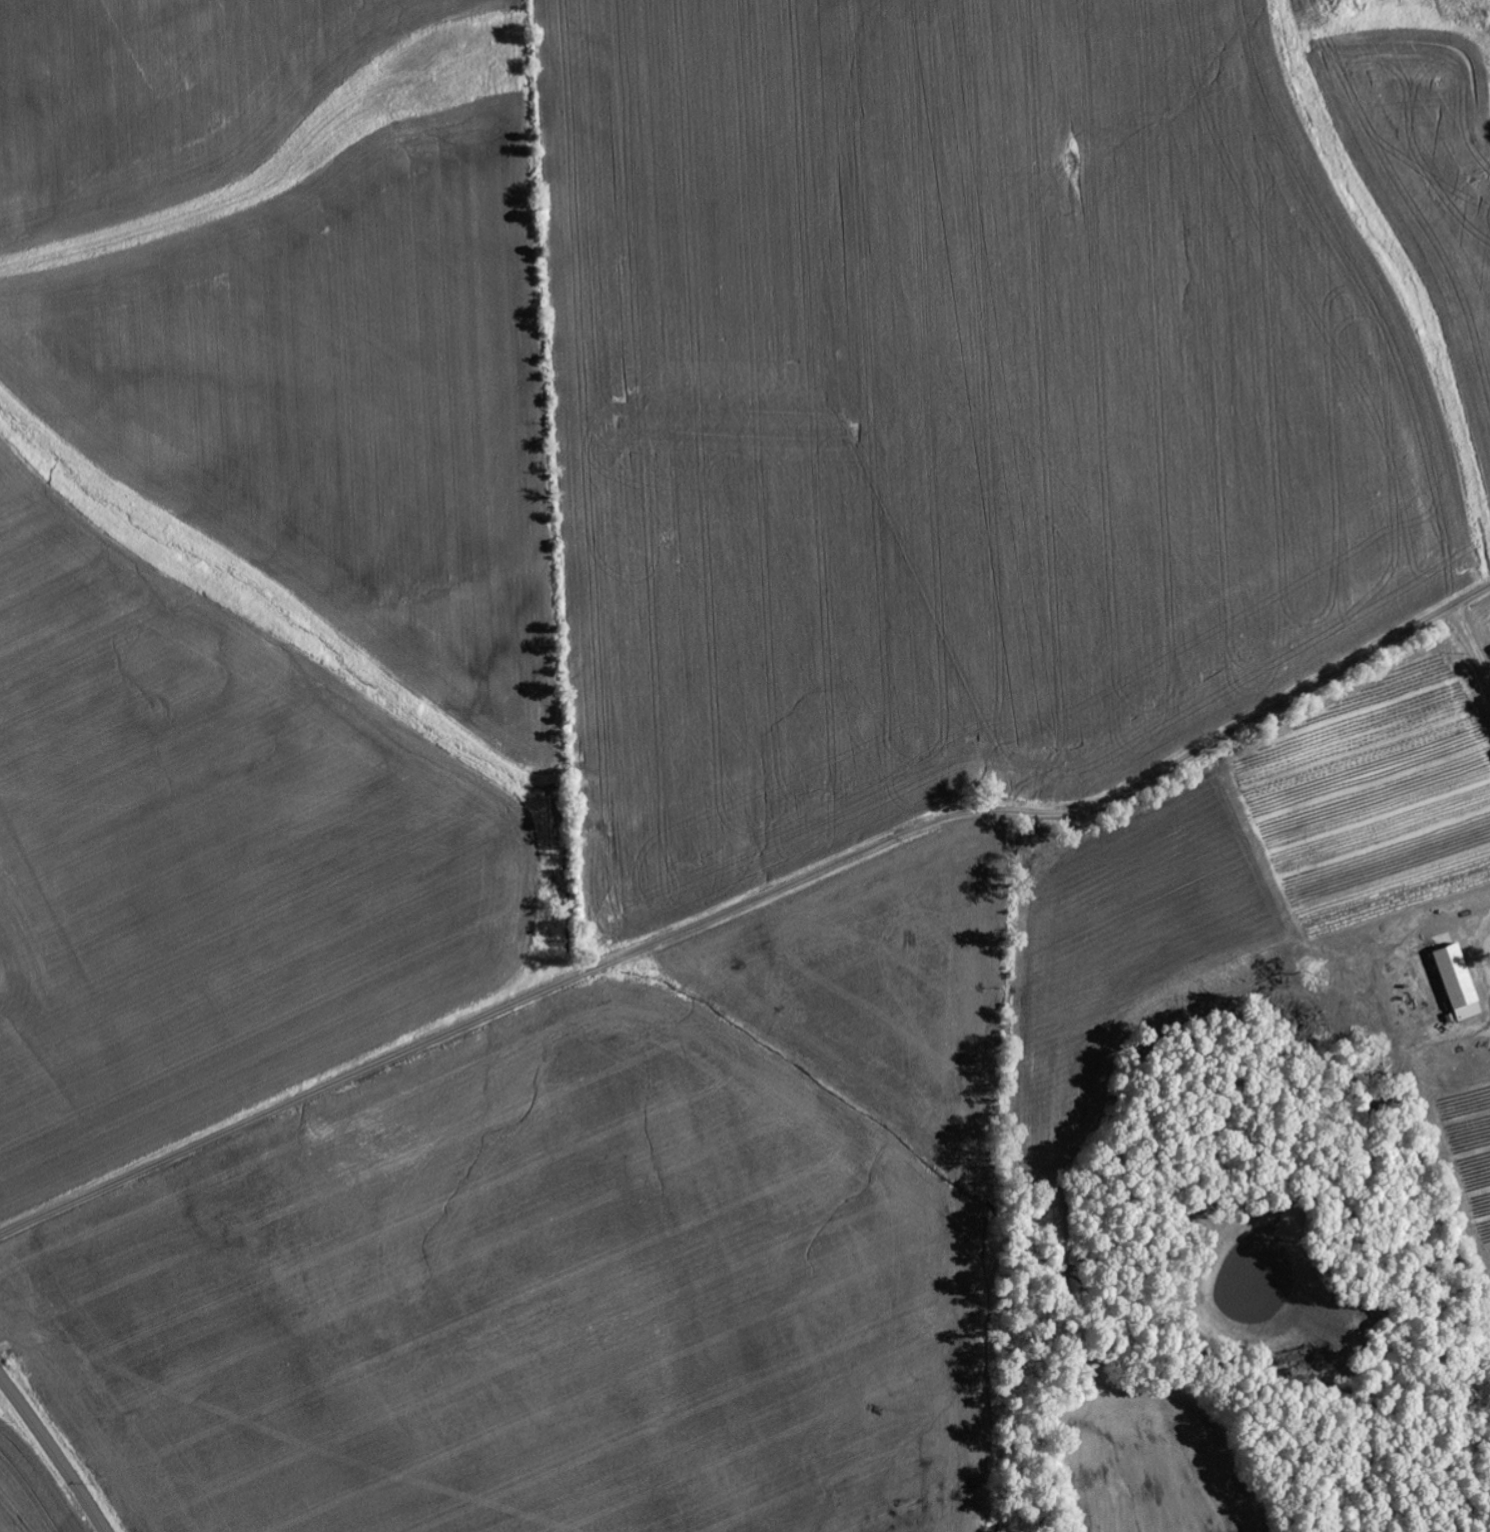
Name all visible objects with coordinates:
road: (747, 902)
building: (1457, 983)
road: (54, 1453)

